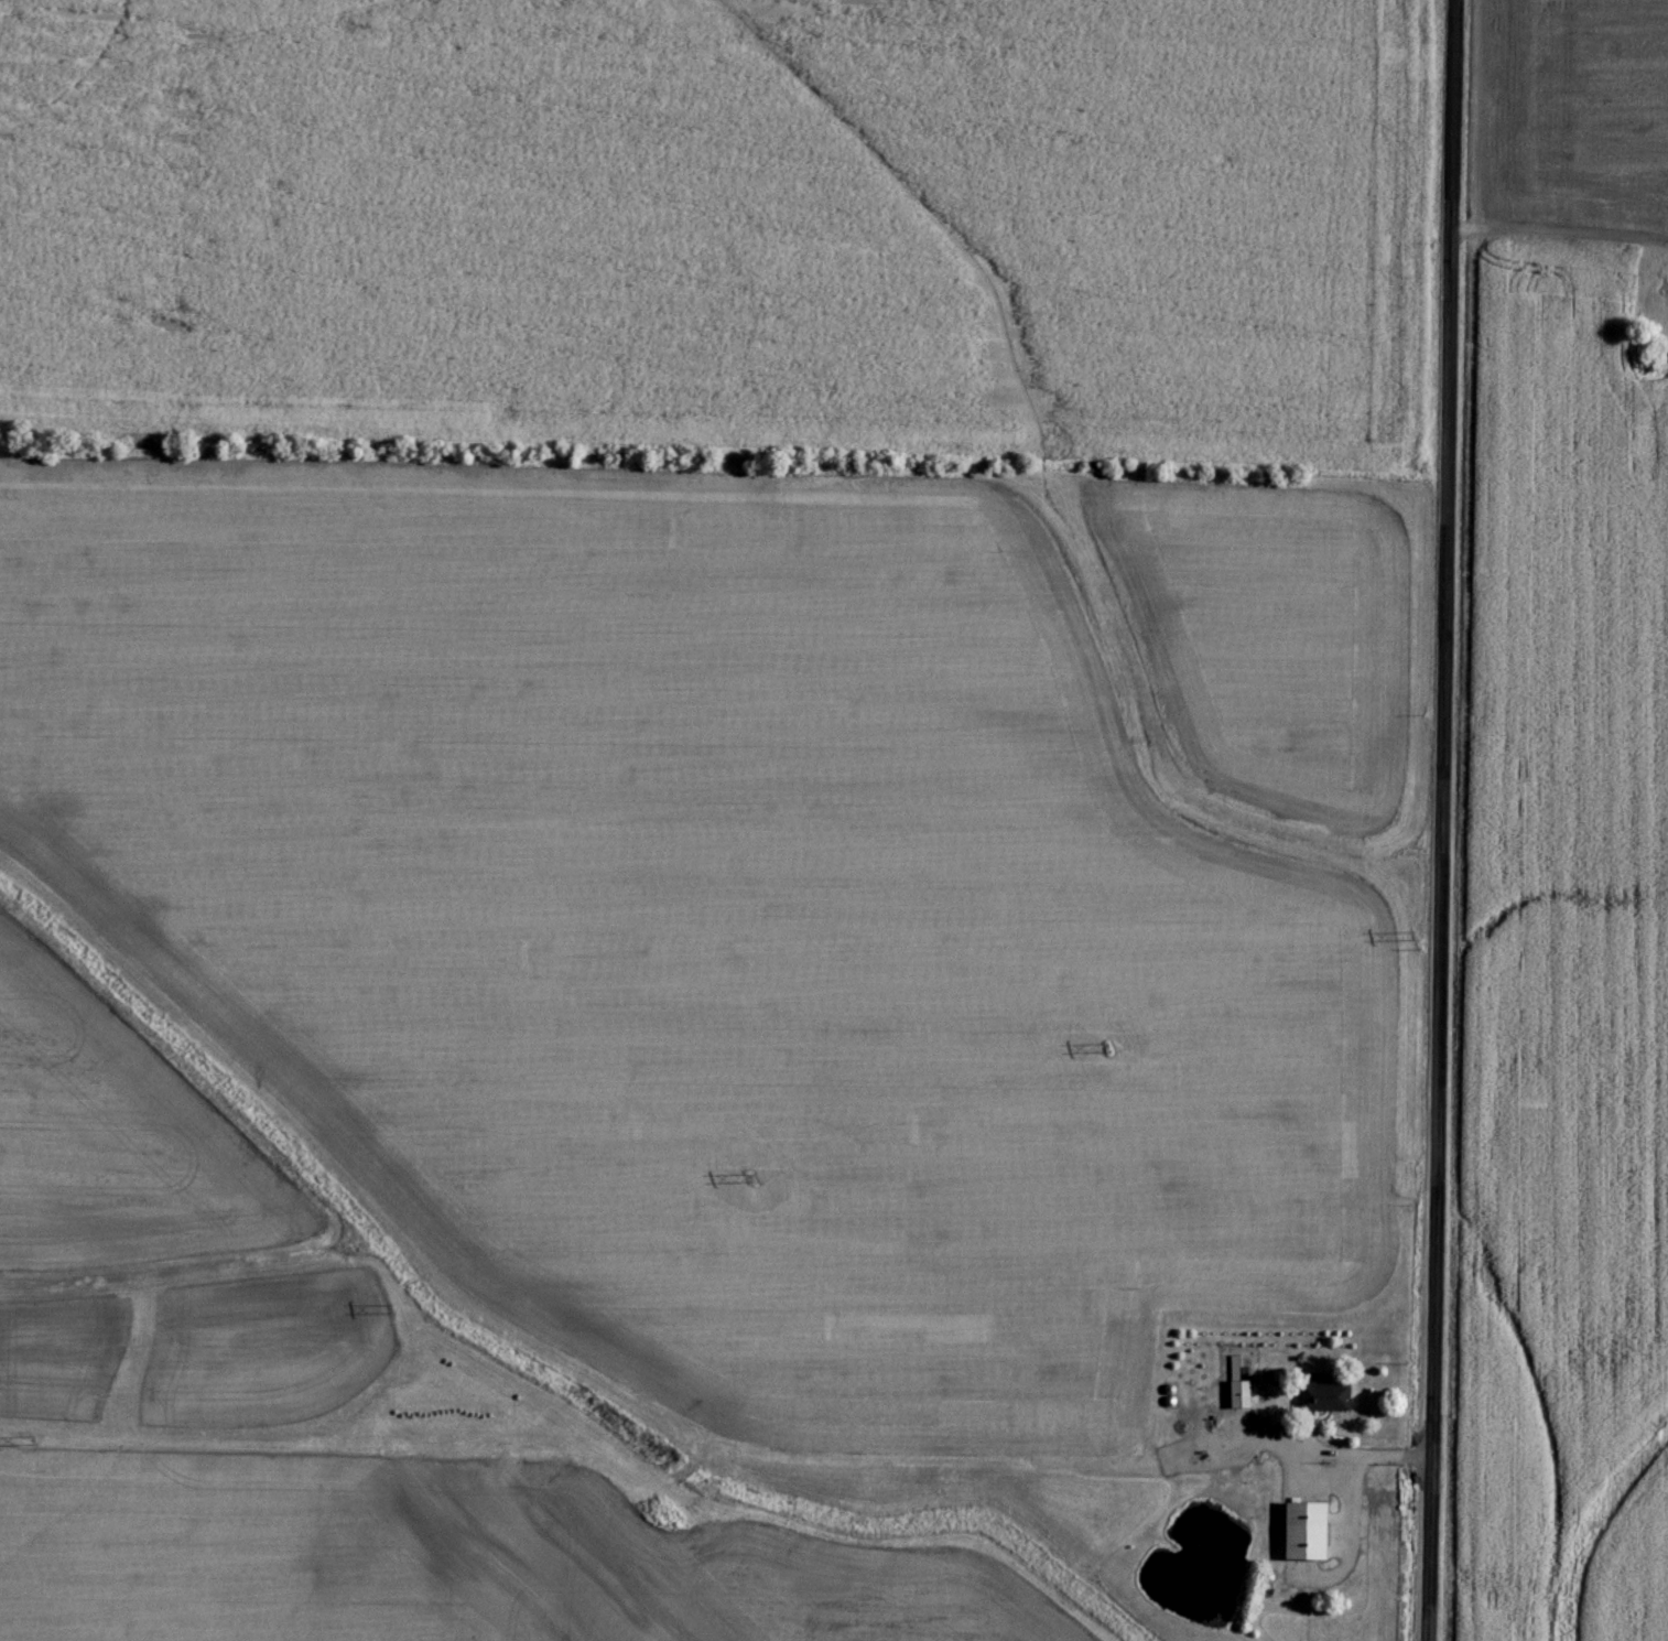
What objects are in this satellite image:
road: (1562, 239)
road: (1442, 820)
building: (1243, 1385)
road: (1333, 1454)
building: (1311, 1530)

